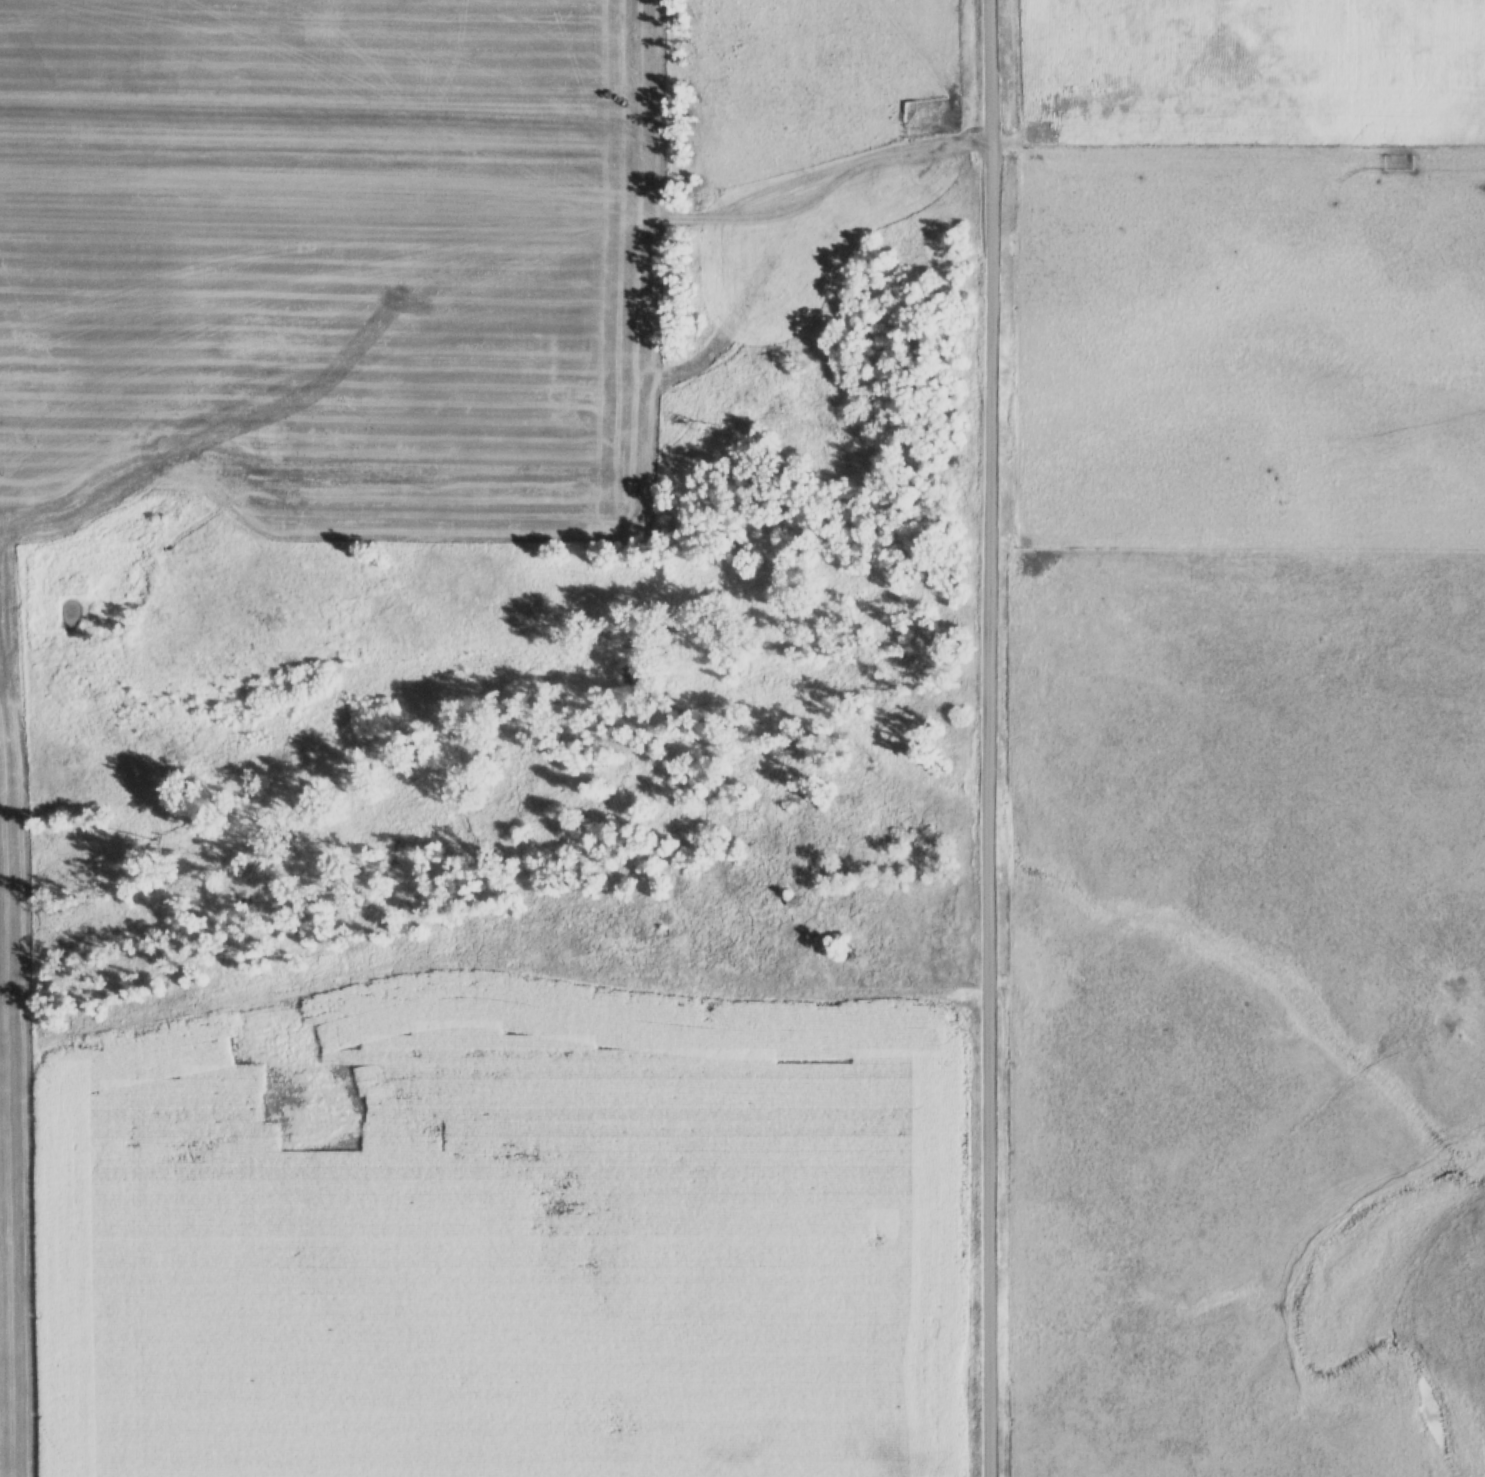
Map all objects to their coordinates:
road: (996, 738)

